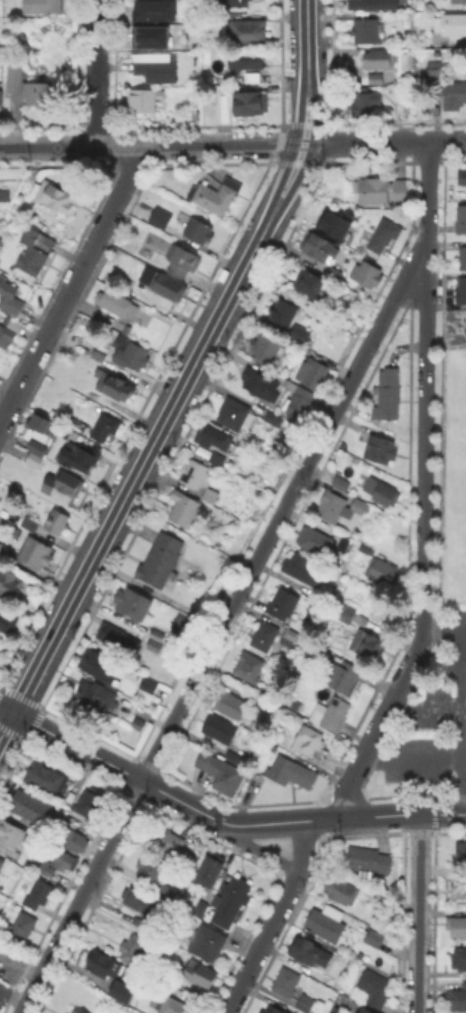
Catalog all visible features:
building: (459, 1)
building: (233, 2)
building: (374, 5)
building: (43, 6)
building: (151, 9)
building: (366, 29)
building: (451, 30)
building: (248, 31)
road: (307, 33)
building: (149, 36)
building: (381, 60)
building: (246, 61)
building: (157, 68)
building: (431, 70)
road: (97, 73)
building: (16, 74)
building: (373, 77)
building: (436, 77)
building: (391, 79)
building: (44, 93)
building: (456, 95)
building: (2, 99)
building: (142, 101)
building: (250, 104)
building: (366, 104)
road: (389, 143)
road: (304, 144)
road: (147, 145)
road: (293, 151)
road: (308, 155)
building: (462, 178)
building: (378, 191)
building: (5, 195)
building: (216, 196)
building: (58, 200)
building: (24, 206)
building: (161, 219)
building: (333, 221)
building: (462, 221)
building: (198, 229)
building: (382, 236)
building: (323, 248)
building: (32, 255)
building: (463, 259)
building: (184, 261)
building: (336, 274)
building: (369, 276)
building: (164, 285)
building: (310, 285)
road: (72, 287)
building: (462, 292)
building: (10, 298)
building: (118, 304)
building: (333, 317)
building: (294, 322)
building: (128, 331)
building: (7, 336)
building: (114, 337)
building: (267, 350)
building: (99, 356)
building: (133, 358)
building: (317, 375)
building: (262, 386)
building: (115, 387)
road: (425, 387)
building: (389, 398)
building: (299, 404)
building: (234, 414)
building: (279, 420)
building: (252, 422)
building: (44, 427)
building: (106, 427)
building: (210, 436)
building: (39, 448)
building: (382, 450)
building: (214, 457)
building: (79, 459)
building: (36, 460)
road: (137, 473)
building: (196, 476)
building: (340, 482)
park: (460, 484)
building: (63, 485)
building: (384, 494)
building: (211, 497)
building: (341, 508)
building: (184, 510)
building: (57, 523)
building: (30, 525)
building: (347, 541)
building: (317, 543)
building: (1, 546)
building: (368, 549)
building: (36, 555)
building: (160, 561)
building: (307, 570)
building: (383, 572)
building: (10, 584)
building: (321, 594)
building: (130, 602)
building: (284, 605)
building: (347, 613)
building: (7, 623)
building: (181, 623)
road: (443, 631)
building: (154, 633)
road: (217, 636)
building: (266, 636)
building: (290, 638)
building: (118, 642)
building: (151, 644)
building: (368, 645)
building: (96, 664)
building: (250, 668)
road: (465, 669)
building: (343, 678)
building: (145, 684)
building: (97, 696)
building: (232, 707)
road: (425, 708)
road: (6, 710)
parking lot: (431, 713)
building: (332, 714)
building: (299, 719)
building: (137, 720)
road: (465, 722)
road: (377, 723)
road: (6, 726)
building: (220, 731)
building: (309, 742)
road: (411, 758)
road: (122, 771)
building: (292, 773)
building: (222, 776)
building: (47, 781)
building: (31, 810)
building: (85, 811)
road: (465, 813)
road: (348, 817)
building: (11, 836)
building: (165, 841)
building: (75, 843)
road: (263, 852)
building: (463, 853)
building: (369, 862)
building: (2, 863)
building: (57, 864)
building: (211, 868)
building: (155, 870)
building: (459, 891)
building: (341, 892)
building: (169, 894)
building: (39, 896)
building: (142, 899)
building: (232, 904)
building: (200, 909)
road: (418, 914)
road: (274, 920)
building: (21, 923)
building: (329, 925)
building: (457, 929)
building: (377, 939)
building: (206, 944)
building: (133, 951)
building: (311, 954)
building: (460, 961)
building: (105, 966)
building: (202, 976)
building: (287, 984)
building: (374, 990)
building: (124, 996)
building: (457, 1001)
building: (330, 1003)
building: (169, 1005)
building: (306, 1005)
building: (273, 1010)
building: (75, 1012)
building: (264, 1012)
building: (357, 1012)
building: (364, 1012)

